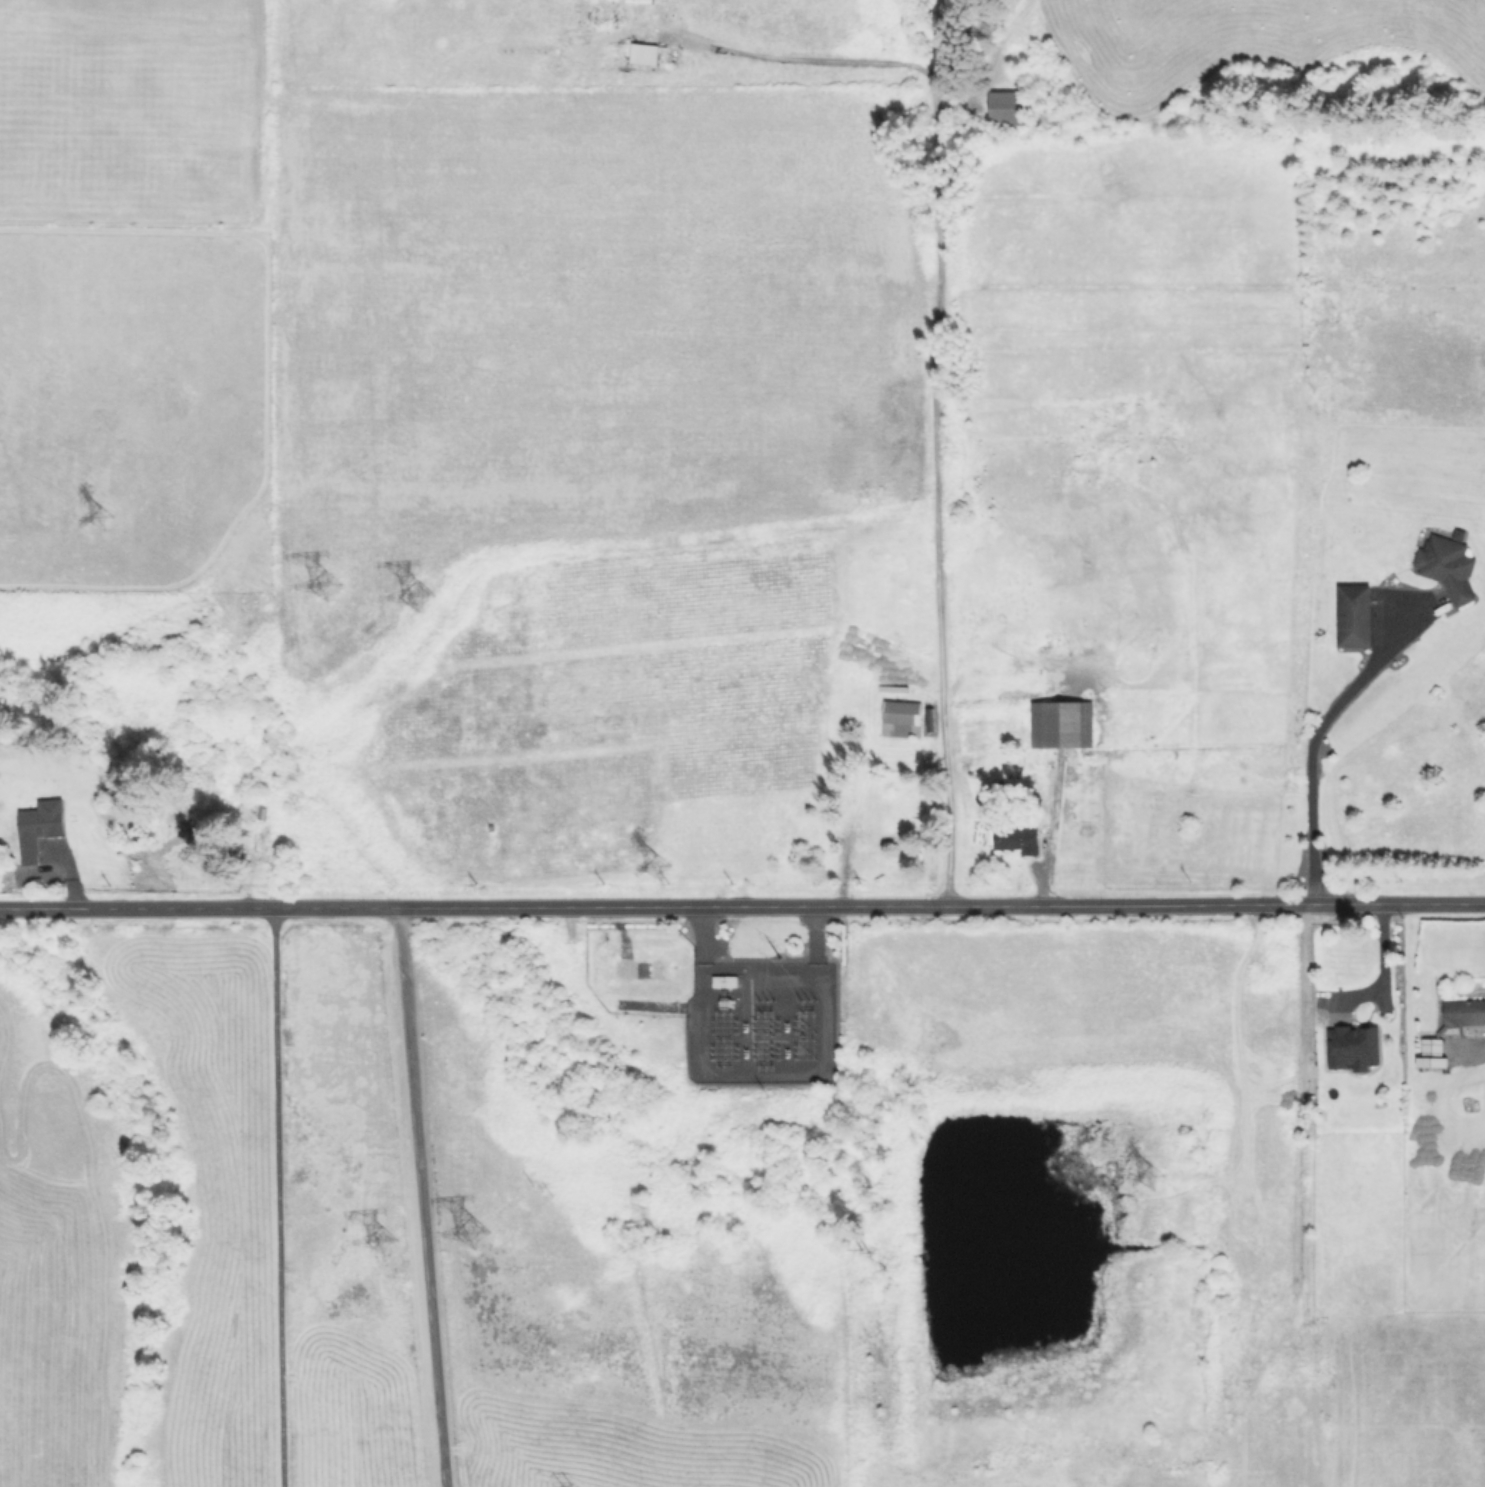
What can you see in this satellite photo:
building: (642, 53)
building: (1004, 107)
road: (934, 380)
power tower: (83, 527)
building: (1446, 564)
power tower: (306, 599)
power tower: (402, 605)
building: (1352, 615)
building: (900, 718)
building: (1060, 723)
road: (1314, 733)
building: (38, 827)
road: (1052, 832)
building: (1015, 838)
power tower: (656, 865)
road: (742, 904)
power tower: (775, 954)
road: (1383, 974)
building: (1463, 1012)
power substation: (760, 1021)
building: (1351, 1047)
building: (1430, 1053)
power tower: (1157, 1175)
road: (278, 1196)
road: (422, 1196)
power tower: (459, 1247)
power tower: (370, 1250)

